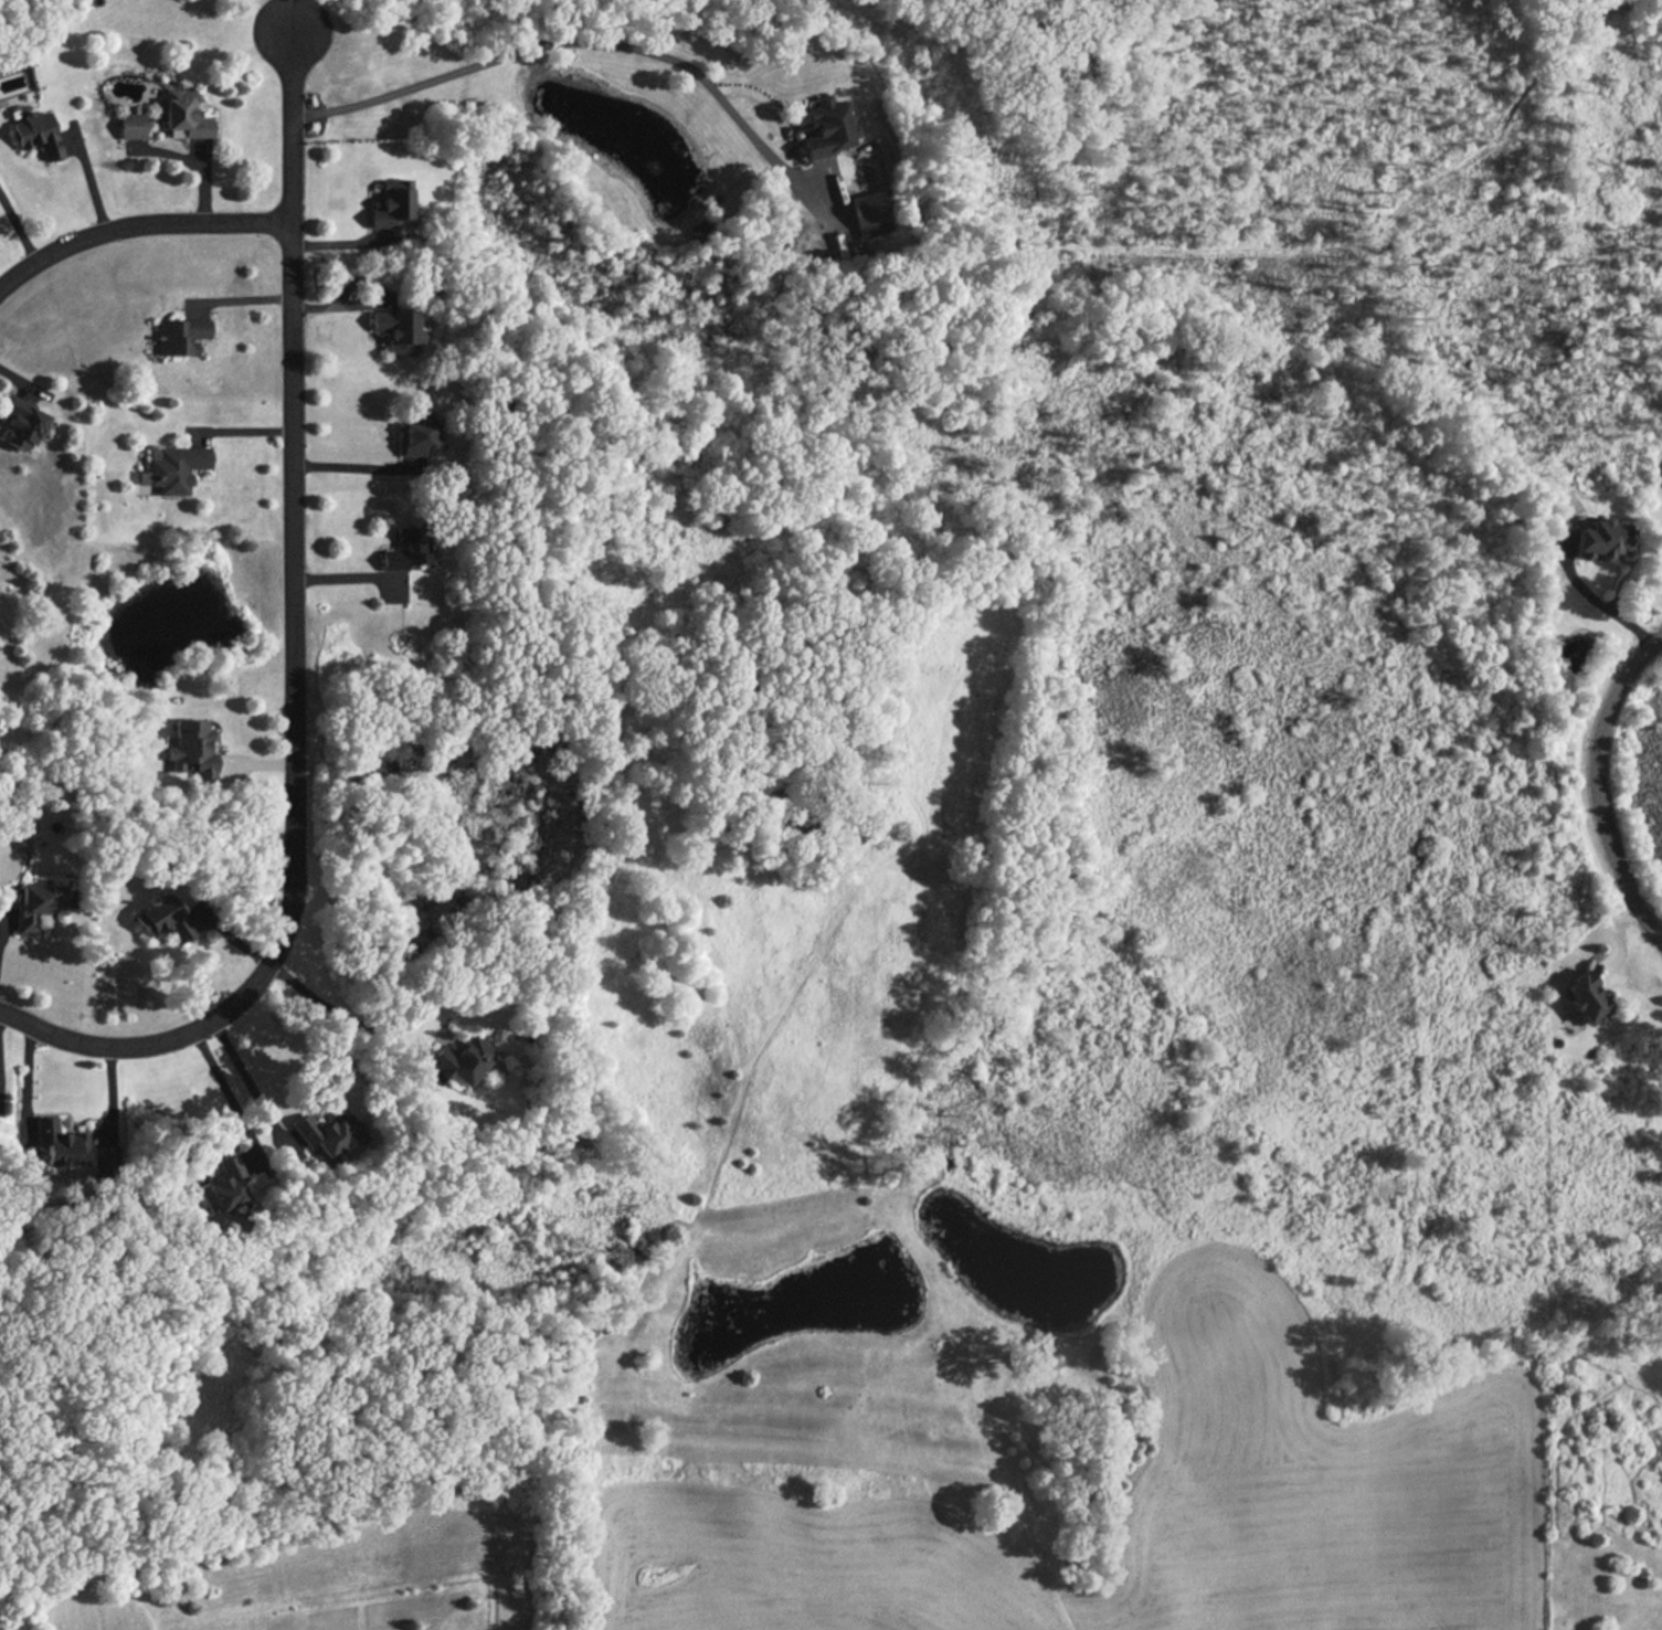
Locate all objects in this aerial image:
road: (555, 41)
building: (184, 114)
building: (133, 125)
building: (827, 127)
building: (39, 134)
building: (391, 203)
building: (870, 213)
road: (140, 224)
road: (19, 226)
building: (398, 331)
building: (182, 336)
building: (22, 424)
building: (416, 437)
road: (353, 462)
building: (173, 467)
building: (1600, 539)
road: (1596, 602)
road: (298, 654)
building: (193, 749)
road: (1595, 780)
building: (39, 906)
building: (162, 919)
building: (1587, 998)
road: (357, 1024)
building: (462, 1059)
road: (229, 1100)
building: (328, 1132)
building: (60, 1144)
building: (104, 1157)
building: (224, 1186)

